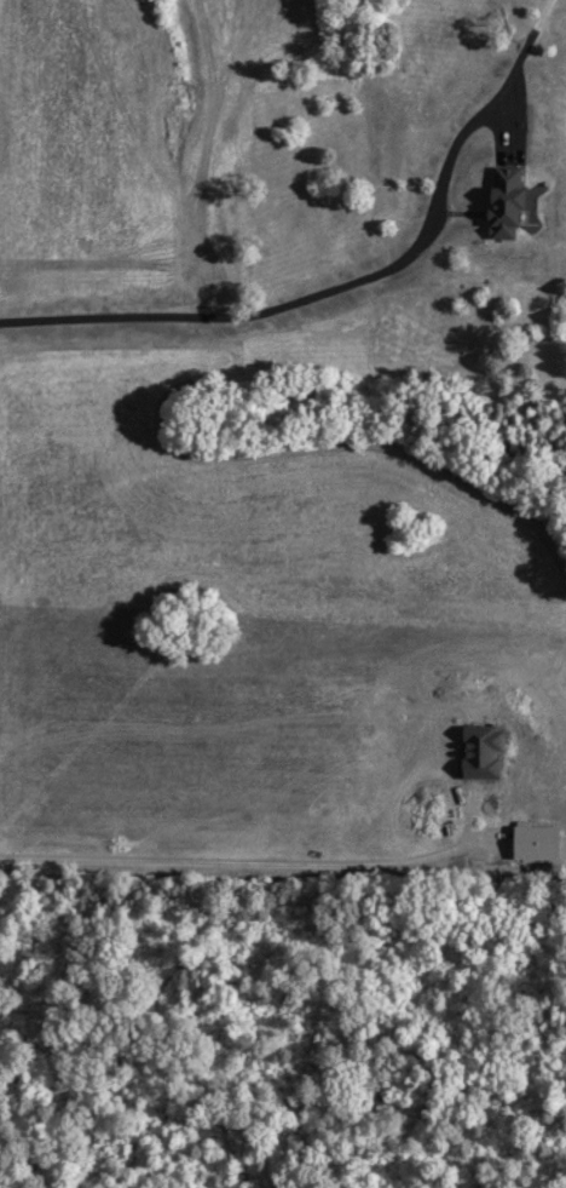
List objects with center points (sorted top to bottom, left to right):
road: (357, 285)

